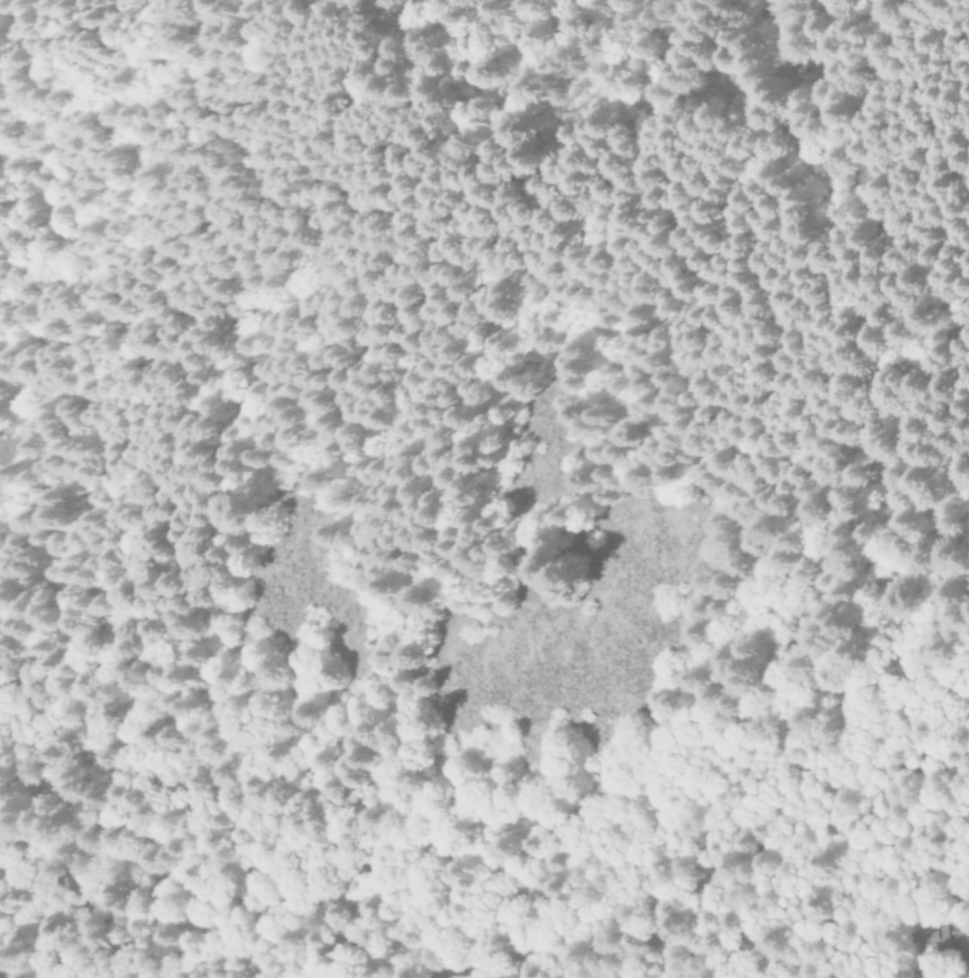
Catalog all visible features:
building: (967, 946)

